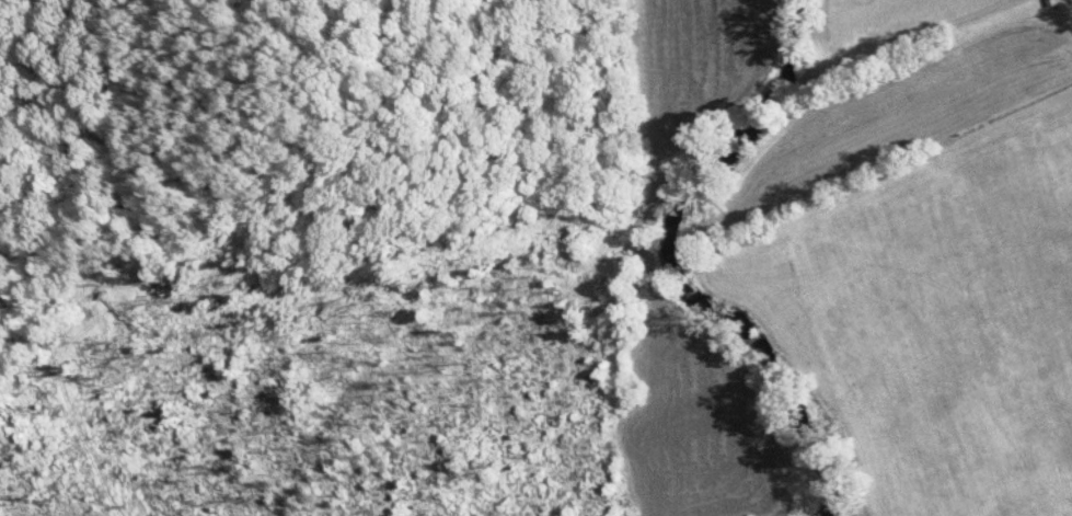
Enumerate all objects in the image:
river: (668, 268)

